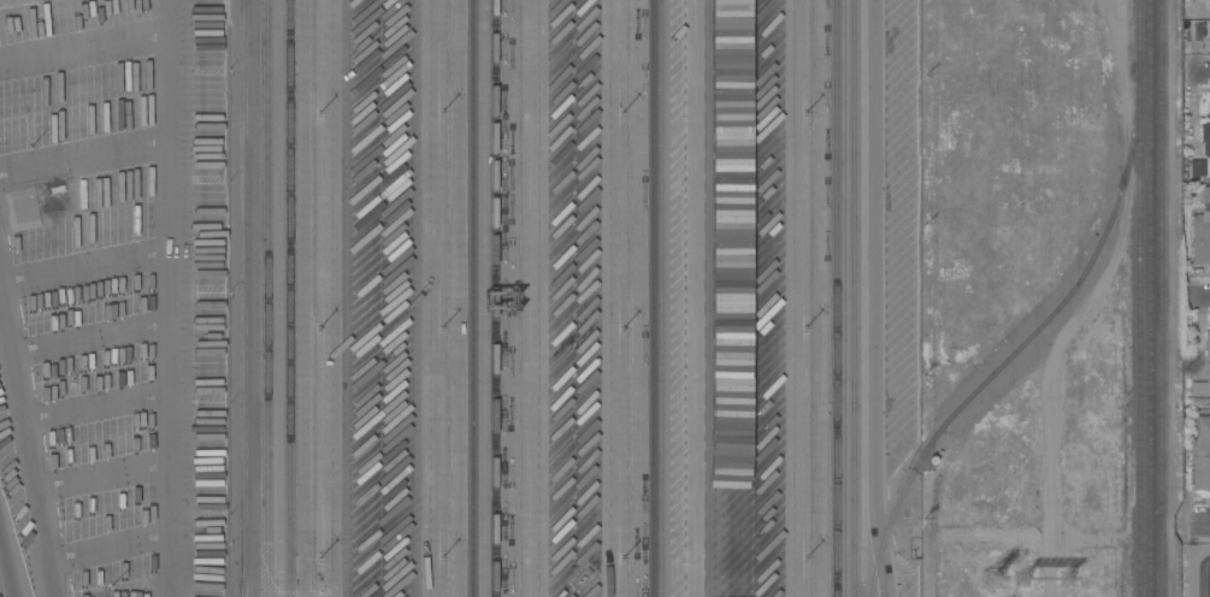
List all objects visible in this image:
building: (728, 1)
building: (760, 20)
building: (1209, 28)
building: (727, 47)
road: (1202, 71)
building: (760, 82)
building: (728, 112)
building: (1205, 134)
building: (760, 164)
building: (1197, 167)
building: (728, 173)
building: (1205, 194)
building: (1200, 237)
building: (760, 248)
building: (727, 254)
railway: (270, 297)
railway: (290, 297)
railway: (855, 297)
railway: (1137, 297)
road: (1204, 297)
road: (167, 298)
road: (246, 298)
road: (330, 298)
road: (426, 298)
railway: (474, 298)
railway: (496, 298)
road: (531, 298)
road: (612, 298)
railway: (655, 298)
road: (703, 298)
road: (793, 298)
railway: (838, 298)
road: (878, 298)
railway: (1146, 298)
railway: (1162, 298)
building: (760, 330)
building: (727, 336)
railway: (1025, 338)
building: (1208, 368)
building: (760, 412)
building: (727, 418)
road: (28, 438)
building: (1200, 454)
building: (760, 493)
road: (1200, 525)
building: (728, 528)
road: (6, 563)
building: (760, 567)
power tower: (992, 578)
power tower: (1067, 580)
power tower: (1023, 581)
power tower: (1039, 583)

